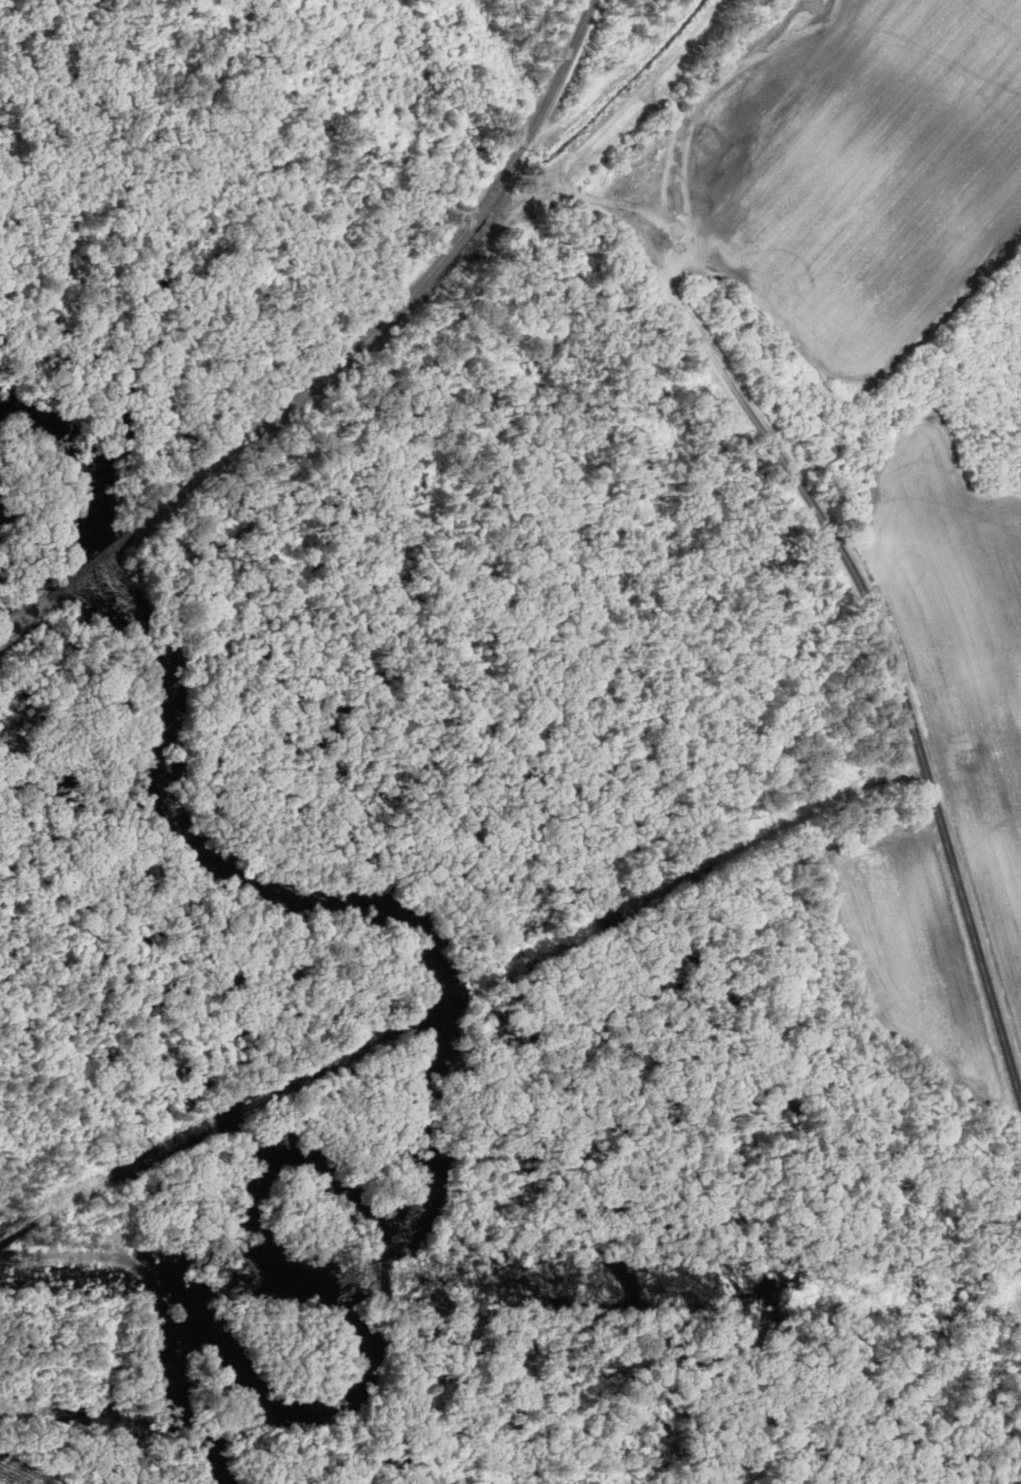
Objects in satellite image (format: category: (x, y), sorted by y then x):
road: (705, 100)
railway: (496, 185)
road: (614, 205)
road: (848, 378)
railway: (246, 443)
river: (0, 526)
railway: (99, 560)
railway: (32, 613)
river: (165, 646)
road: (888, 668)
river: (257, 1190)

